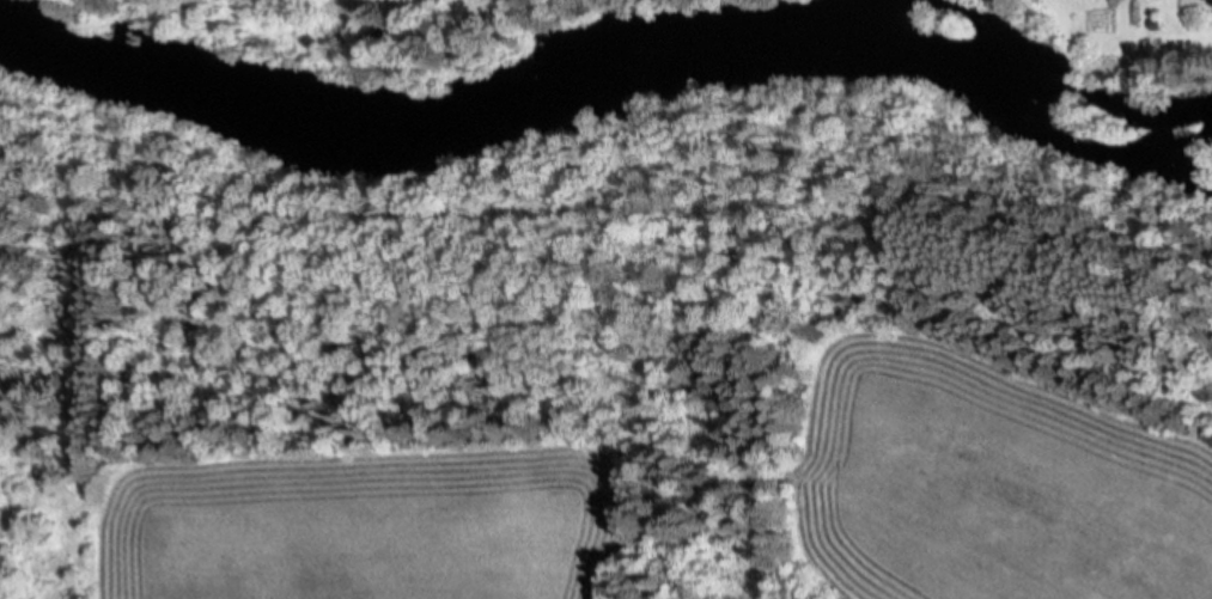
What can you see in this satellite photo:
river: (616, 74)

